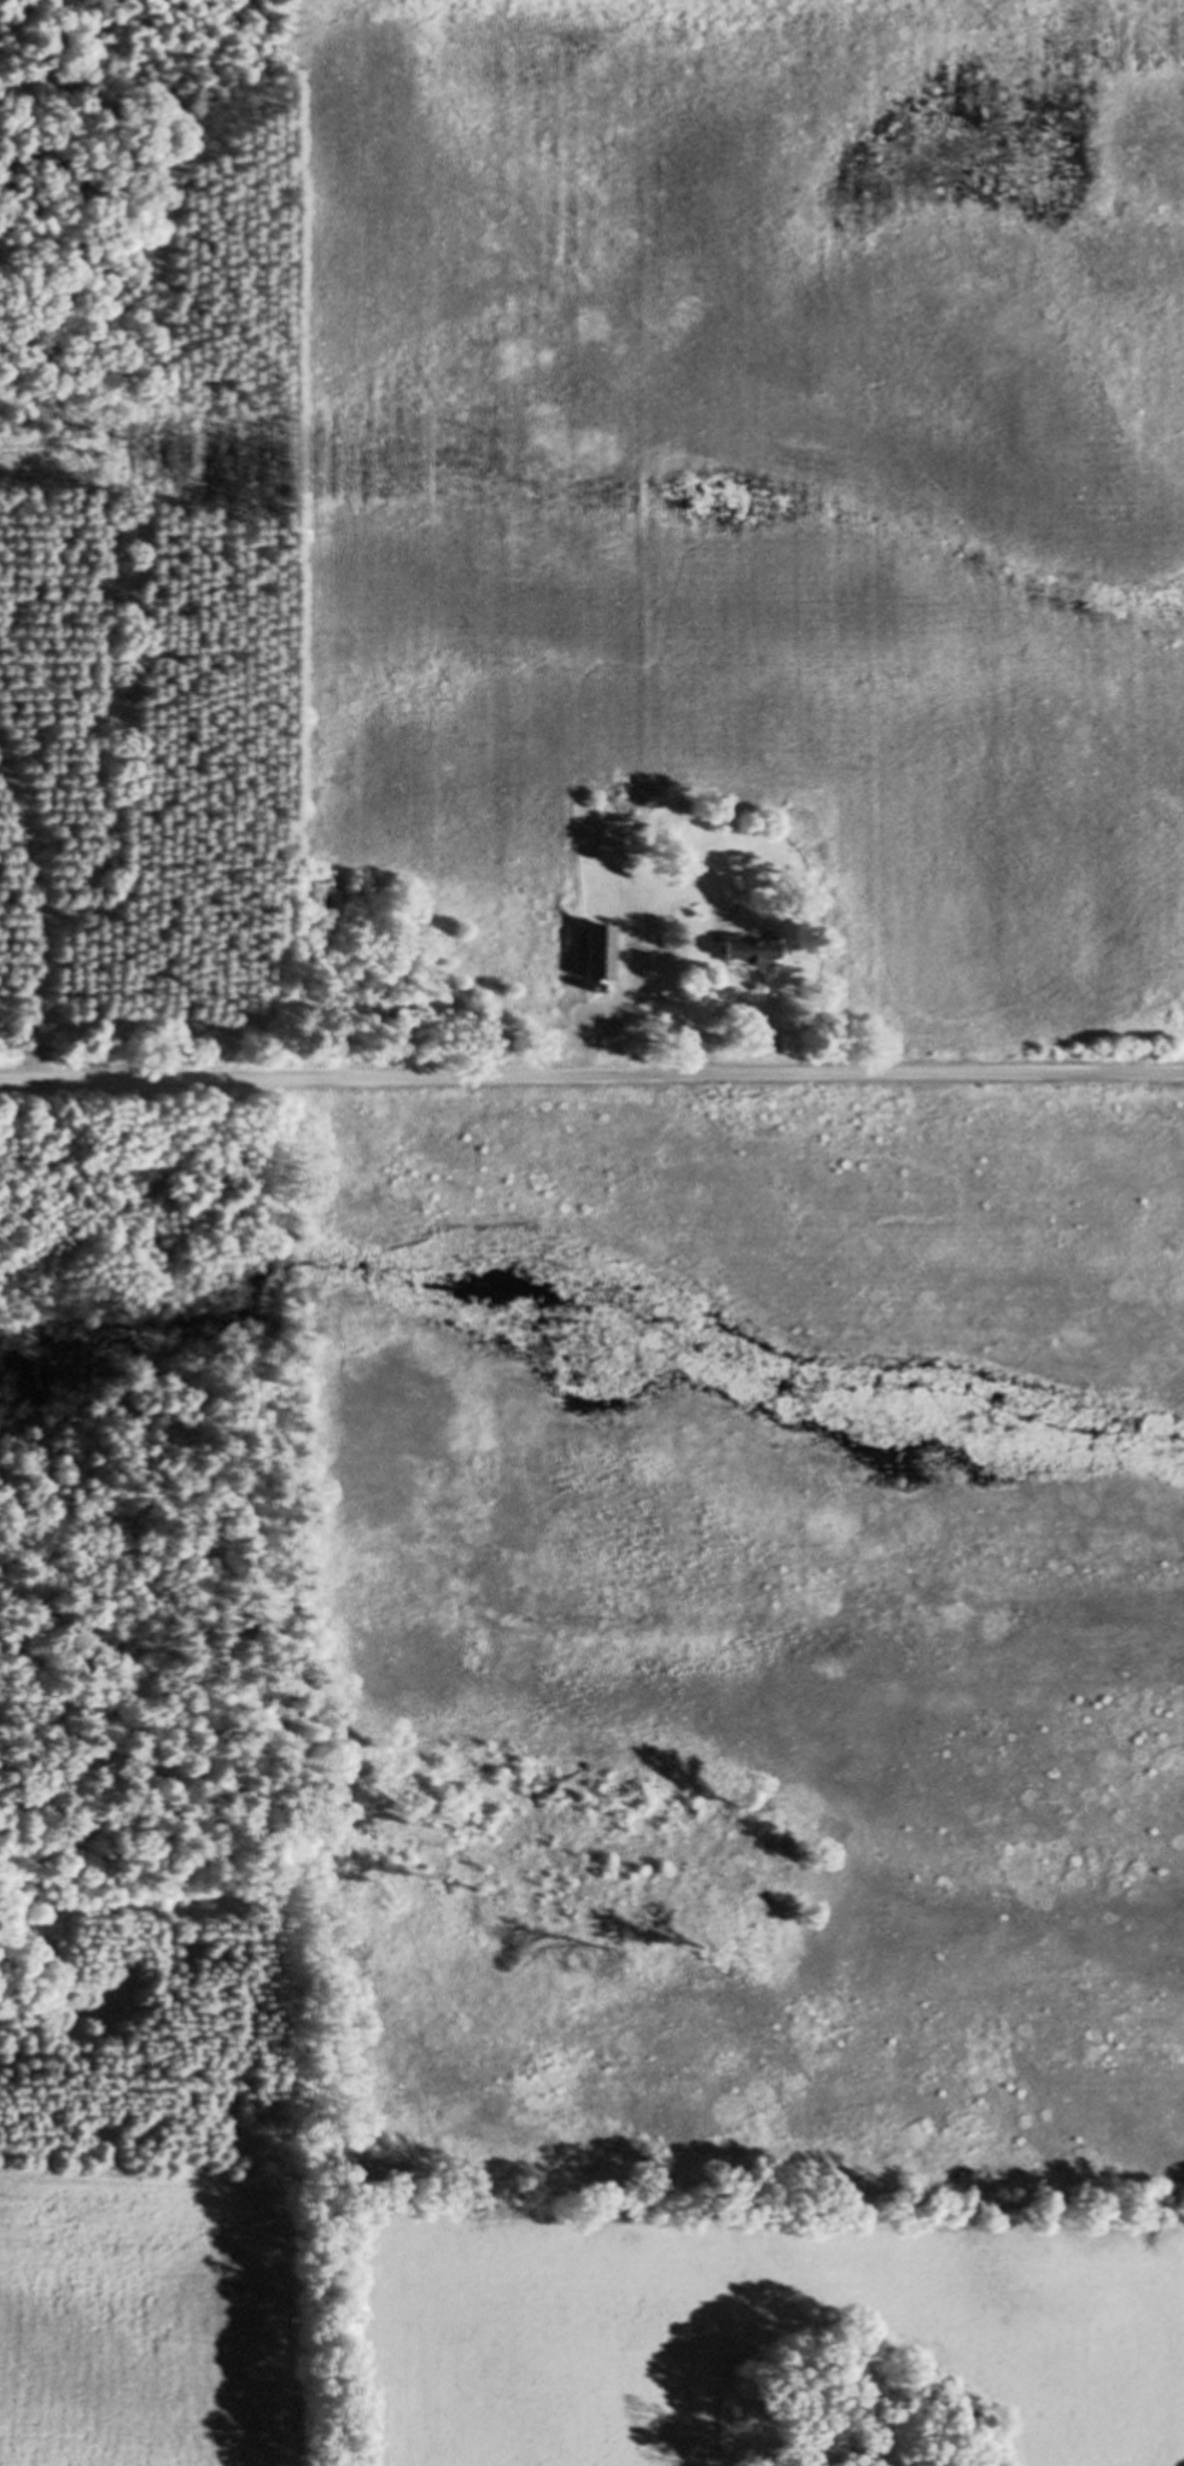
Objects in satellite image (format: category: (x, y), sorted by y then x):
building: (741, 950)
building: (590, 952)
road: (591, 1074)

